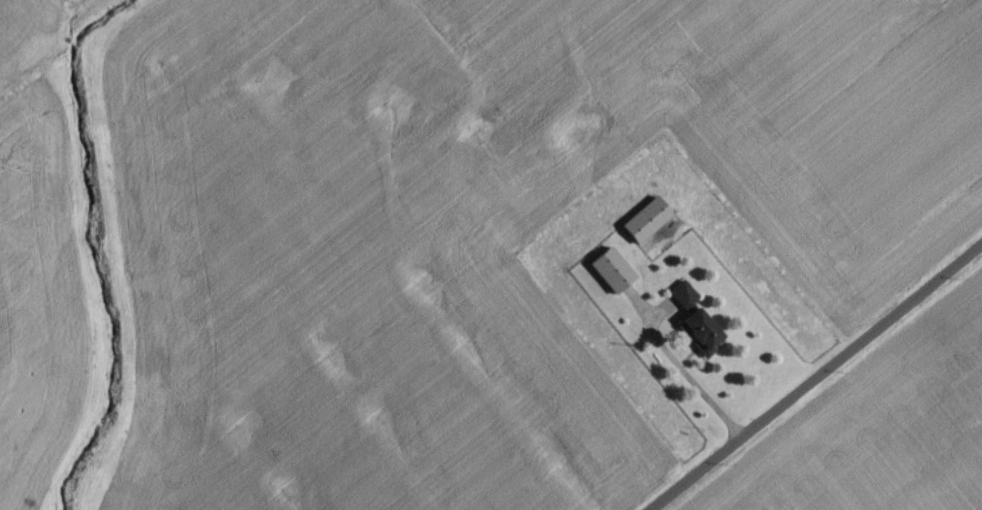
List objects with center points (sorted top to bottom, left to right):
building: (645, 248)
building: (692, 326)
road: (819, 379)

